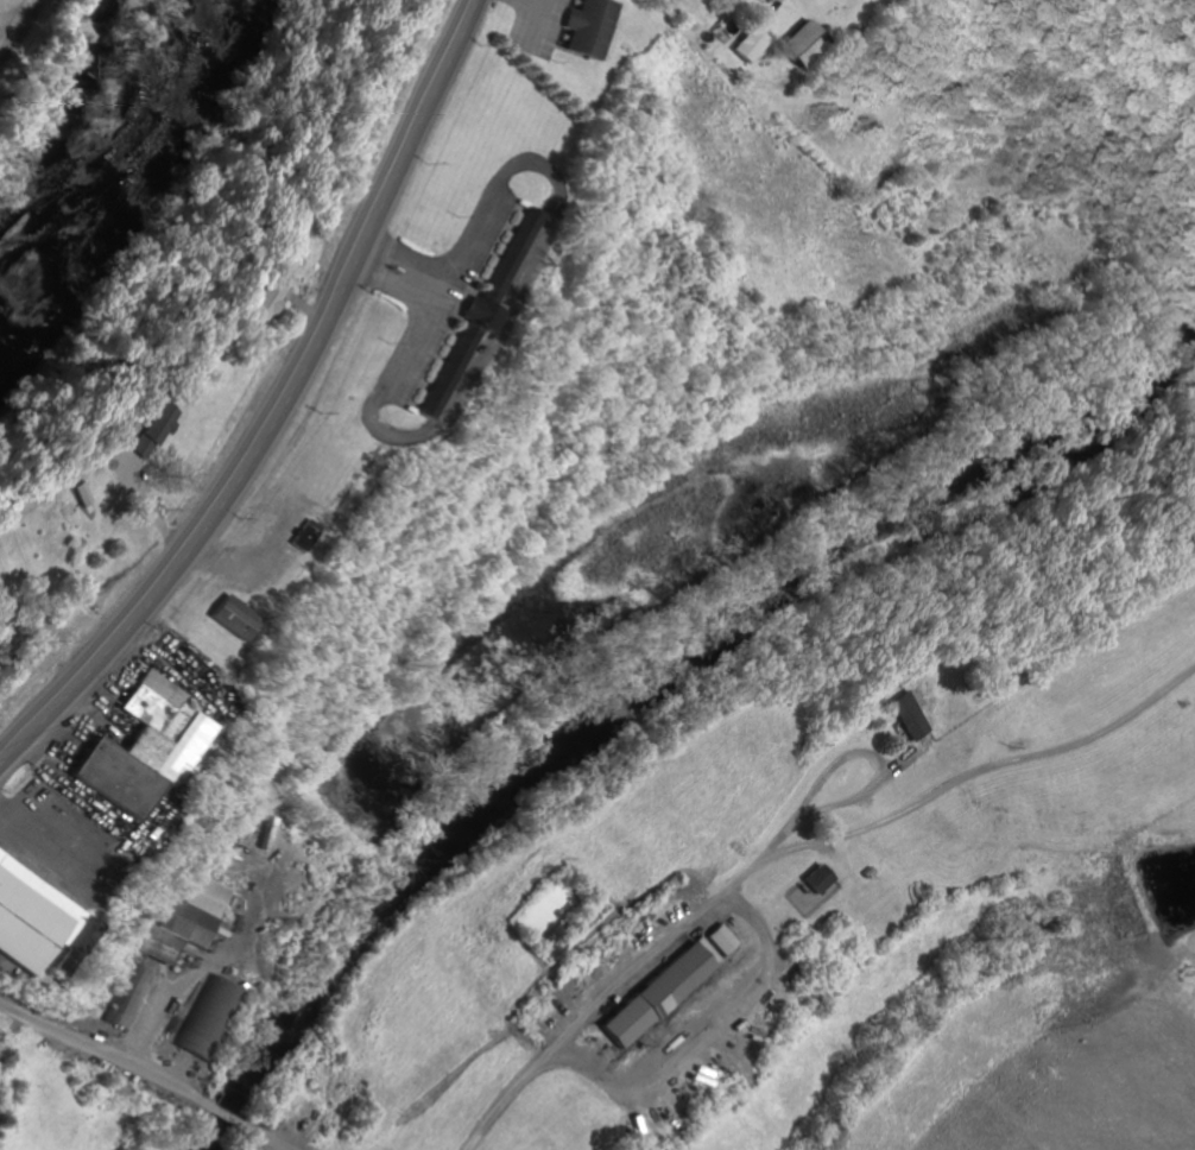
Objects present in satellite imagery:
building: (584, 27)
building: (746, 44)
building: (797, 44)
river: (102, 181)
building: (251, 299)
road: (278, 407)
building: (135, 428)
road: (145, 505)
building: (226, 614)
building: (906, 714)
building: (138, 745)
road: (783, 829)
building: (813, 878)
building: (26, 916)
building: (183, 918)
building: (720, 937)
building: (652, 994)
building: (197, 1016)
road: (709, 1044)
road: (102, 1053)
road: (225, 1116)
road: (268, 1138)

